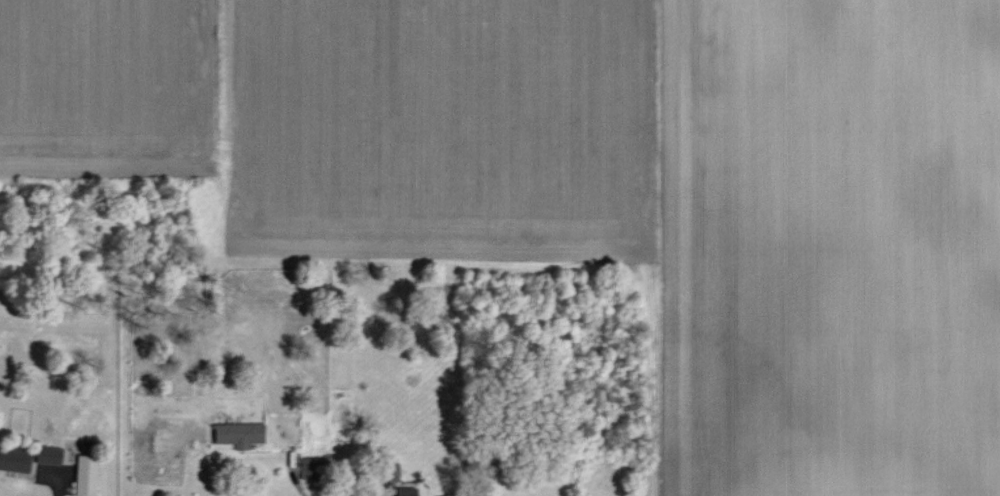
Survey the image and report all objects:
building: (237, 433)
road: (56, 474)
road: (292, 474)
building: (83, 475)
building: (404, 491)

